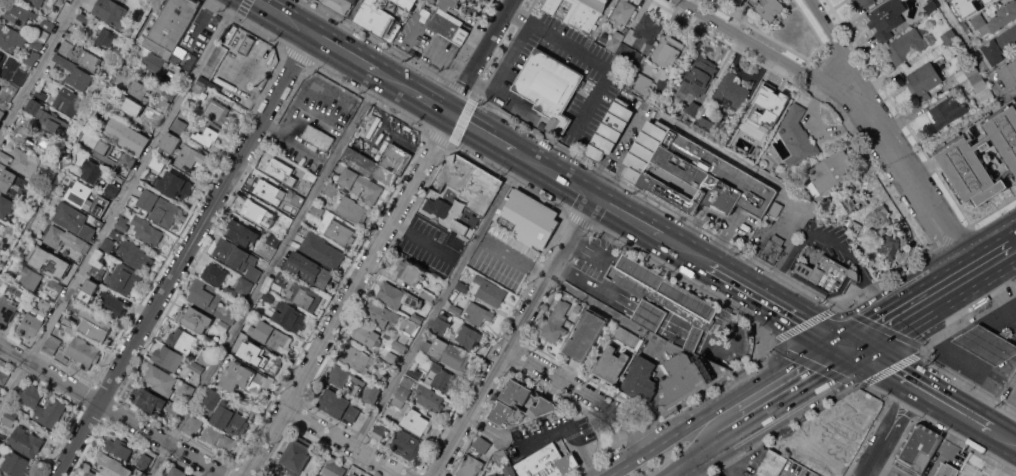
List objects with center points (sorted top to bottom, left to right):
building: (321, 0)
building: (432, 1)
building: (986, 1)
building: (41, 2)
building: (864, 2)
building: (407, 3)
building: (451, 4)
building: (341, 5)
building: (552, 5)
building: (769, 8)
building: (962, 10)
building: (624, 11)
building: (112, 12)
building: (19, 13)
building: (585, 13)
road: (285, 16)
building: (84, 17)
building: (886, 18)
building: (996, 18)
building: (377, 20)
road: (347, 22)
building: (448, 26)
building: (648, 27)
building: (967, 28)
building: (44, 30)
building: (172, 31)
building: (949, 36)
building: (71, 37)
building: (105, 37)
building: (11, 38)
building: (613, 40)
building: (36, 44)
building: (246, 44)
building: (908, 44)
building: (1000, 45)
road: (839, 47)
road: (975, 49)
road: (345, 51)
building: (668, 51)
road: (771, 51)
building: (631, 54)
building: (82, 56)
building: (31, 57)
building: (2, 59)
road: (39, 67)
building: (13, 70)
building: (966, 70)
building: (163, 71)
building: (75, 72)
building: (1009, 73)
building: (699, 75)
building: (924, 80)
road: (395, 81)
building: (979, 82)
building: (641, 83)
building: (200, 86)
building: (549, 86)
building: (138, 88)
building: (8, 90)
building: (730, 92)
building: (168, 93)
building: (41, 94)
road: (1012, 96)
building: (67, 100)
road: (433, 103)
building: (163, 105)
building: (129, 107)
building: (572, 109)
building: (690, 109)
building: (216, 110)
building: (766, 110)
building: (947, 111)
building: (2, 114)
building: (45, 116)
building: (706, 121)
building: (179, 125)
building: (148, 126)
building: (117, 128)
building: (609, 130)
road: (483, 133)
building: (207, 136)
building: (318, 136)
road: (81, 137)
building: (797, 137)
building: (142, 138)
building: (47, 140)
building: (170, 142)
building: (734, 143)
building: (134, 148)
building: (645, 150)
building: (101, 152)
building: (5, 156)
building: (981, 157)
building: (189, 158)
building: (25, 161)
building: (380, 162)
building: (157, 163)
building: (279, 167)
building: (92, 170)
building: (830, 171)
building: (312, 174)
road: (556, 174)
building: (703, 178)
road: (910, 179)
building: (468, 181)
building: (12, 182)
building: (361, 184)
building: (172, 185)
building: (112, 189)
building: (330, 189)
building: (267, 190)
building: (87, 198)
building: (298, 200)
building: (852, 202)
road: (117, 204)
building: (5, 206)
building: (437, 206)
building: (159, 207)
building: (776, 208)
building: (351, 209)
building: (317, 211)
building: (259, 213)
road: (630, 217)
building: (286, 218)
building: (529, 218)
building: (878, 218)
building: (74, 220)
building: (98, 223)
building: (1, 224)
building: (122, 225)
road: (1012, 228)
building: (146, 230)
building: (460, 230)
building: (242, 232)
building: (339, 232)
building: (116, 234)
building: (64, 239)
road: (383, 239)
building: (273, 241)
building: (107, 245)
building: (887, 245)
road: (984, 245)
building: (773, 248)
road: (687, 249)
building: (322, 250)
road: (184, 254)
building: (134, 255)
building: (43, 256)
building: (237, 257)
building: (72, 267)
building: (309, 269)
building: (97, 271)
building: (409, 272)
building: (214, 274)
road: (265, 274)
road: (969, 274)
building: (827, 276)
building: (30, 277)
road: (997, 277)
building: (122, 278)
road: (739, 278)
building: (281, 280)
building: (240, 286)
building: (462, 286)
building: (54, 287)
road: (1008, 288)
building: (87, 290)
building: (20, 291)
building: (489, 291)
building: (427, 294)
building: (304, 295)
building: (664, 295)
building: (269, 296)
building: (397, 296)
road: (896, 296)
building: (211, 300)
road: (442, 302)
building: (44, 303)
building: (112, 304)
building: (22, 305)
building: (7, 308)
building: (455, 308)
road: (611, 312)
building: (381, 313)
building: (477, 313)
road: (799, 313)
building: (649, 315)
road: (1001, 315)
building: (290, 317)
building: (417, 317)
building: (195, 318)
building: (67, 321)
road: (924, 321)
building: (556, 322)
building: (31, 324)
building: (441, 324)
building: (63, 325)
building: (223, 325)
building: (409, 325)
building: (94, 326)
traffic signals: (833, 333)
building: (586, 334)
building: (366, 335)
building: (468, 335)
building: (272, 336)
road: (974, 336)
road: (517, 337)
building: (629, 337)
building: (244, 338)
building: (403, 339)
building: (182, 340)
road: (1015, 341)
road: (852, 343)
building: (988, 343)
building: (52, 344)
building: (399, 346)
road: (955, 348)
building: (81, 349)
road: (948, 350)
building: (446, 352)
traffic signals: (871, 353)
road: (1002, 353)
building: (168, 357)
building: (392, 357)
building: (357, 358)
building: (65, 359)
building: (203, 359)
building: (264, 359)
building: (611, 364)
building: (195, 366)
road: (897, 369)
building: (414, 371)
building: (382, 373)
building: (4, 374)
building: (339, 375)
building: (442, 377)
building: (641, 378)
building: (687, 378)
building: (160, 379)
building: (245, 379)
road: (970, 382)
building: (357, 385)
building: (405, 387)
building: (186, 390)
road: (589, 391)
building: (371, 393)
road: (936, 393)
building: (31, 395)
building: (429, 398)
road: (800, 398)
building: (147, 399)
building: (213, 399)
building: (398, 402)
road: (718, 403)
building: (339, 405)
building: (520, 405)
road: (955, 405)
building: (174, 408)
road: (113, 410)
building: (50, 412)
building: (385, 413)
building: (10, 417)
road: (977, 418)
building: (230, 419)
building: (419, 422)
building: (194, 426)
road: (892, 429)
building: (378, 432)
road: (570, 432)
building: (211, 433)
road: (1004, 434)
road: (635, 435)
building: (25, 441)
road: (349, 441)
road: (943, 442)
building: (227, 443)
building: (482, 443)
building: (119, 444)
building: (407, 444)
building: (1, 446)
building: (920, 448)
building: (297, 455)
building: (501, 456)
building: (145, 460)
road: (702, 460)
building: (547, 462)
building: (16, 463)
building: (770, 464)
building: (112, 465)
building: (470, 466)
building: (333, 467)
building: (509, 470)
building: (947, 470)
building: (177, 472)
building: (90, 473)
building: (354, 474)
building: (318, 475)
building: (361, 475)
building: (494, 475)

